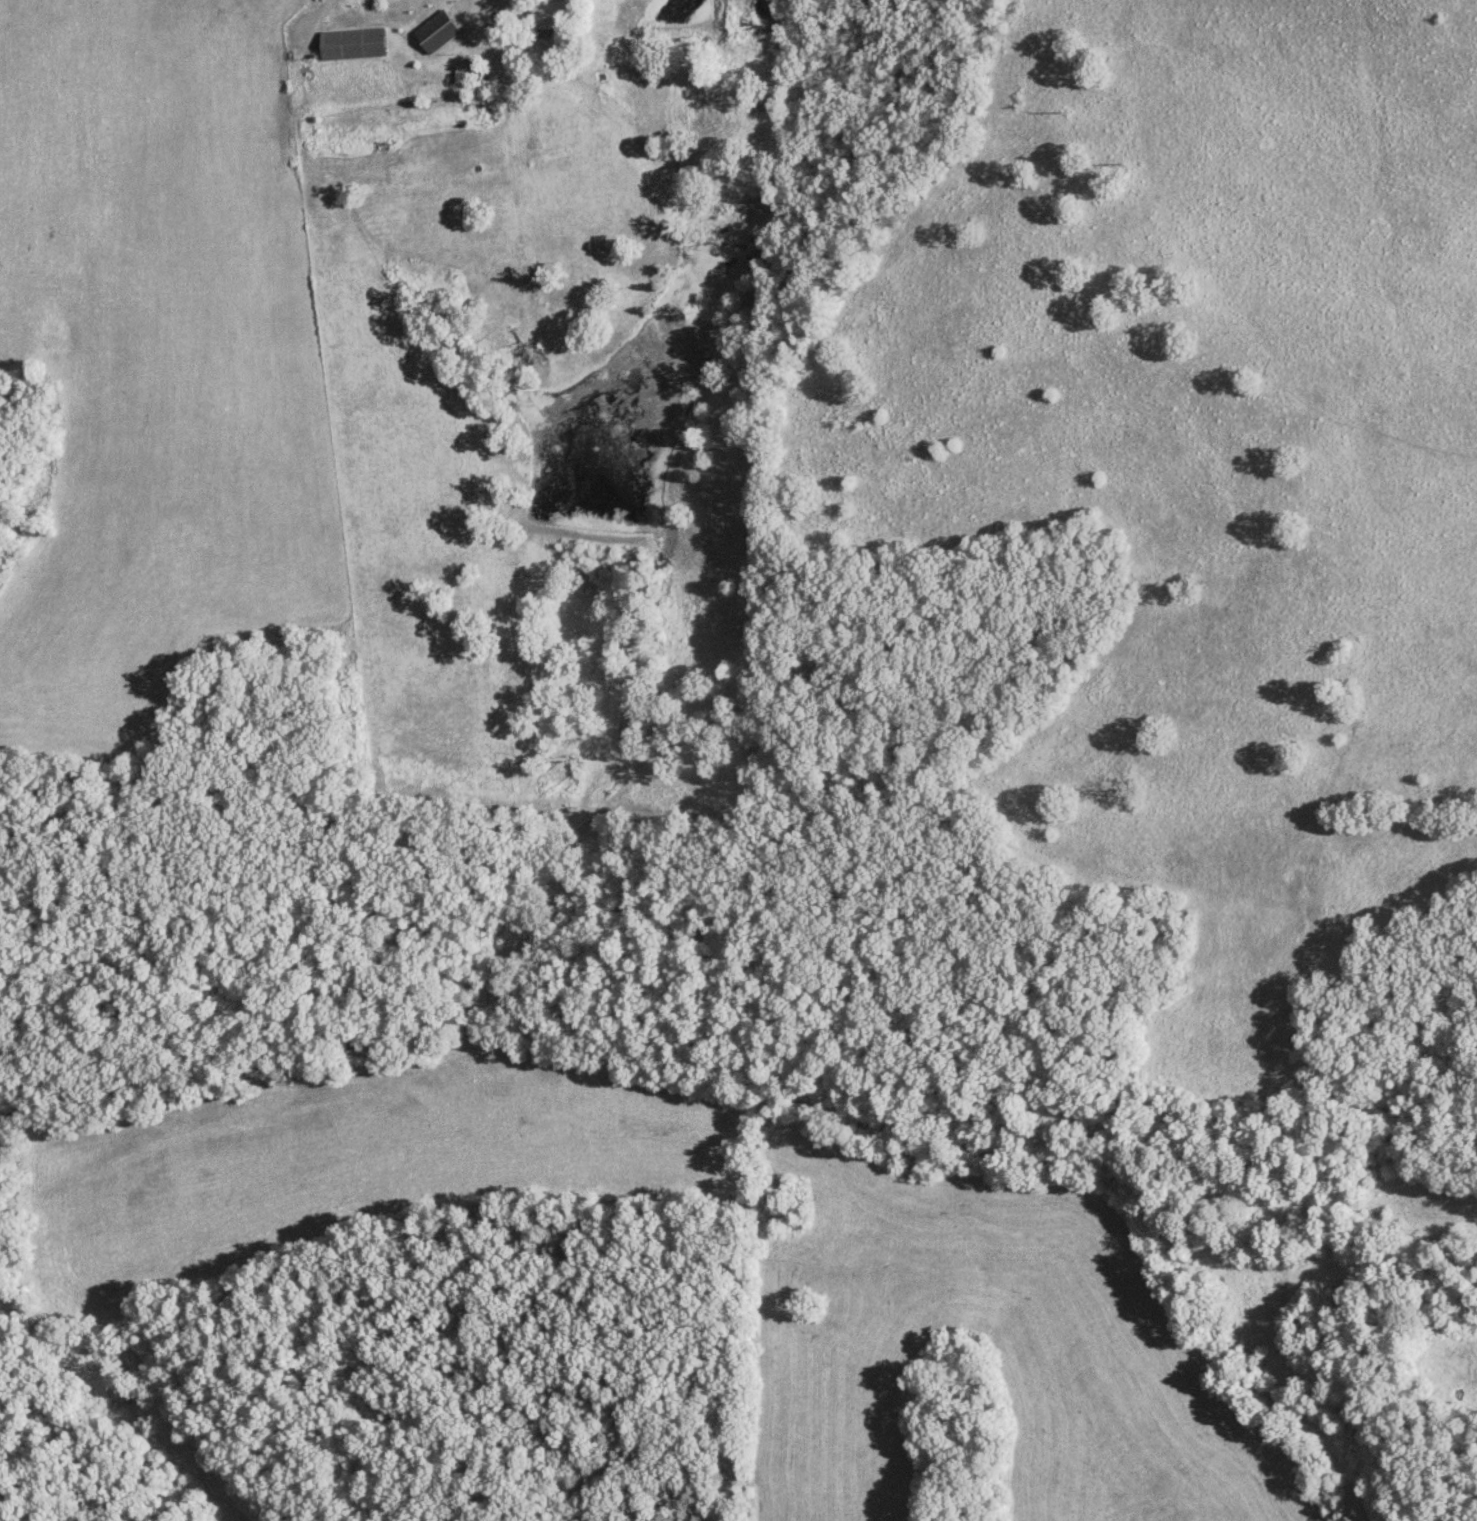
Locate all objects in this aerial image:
building: (548, 14)
building: (739, 15)
building: (434, 30)
building: (350, 42)
building: (387, 119)

